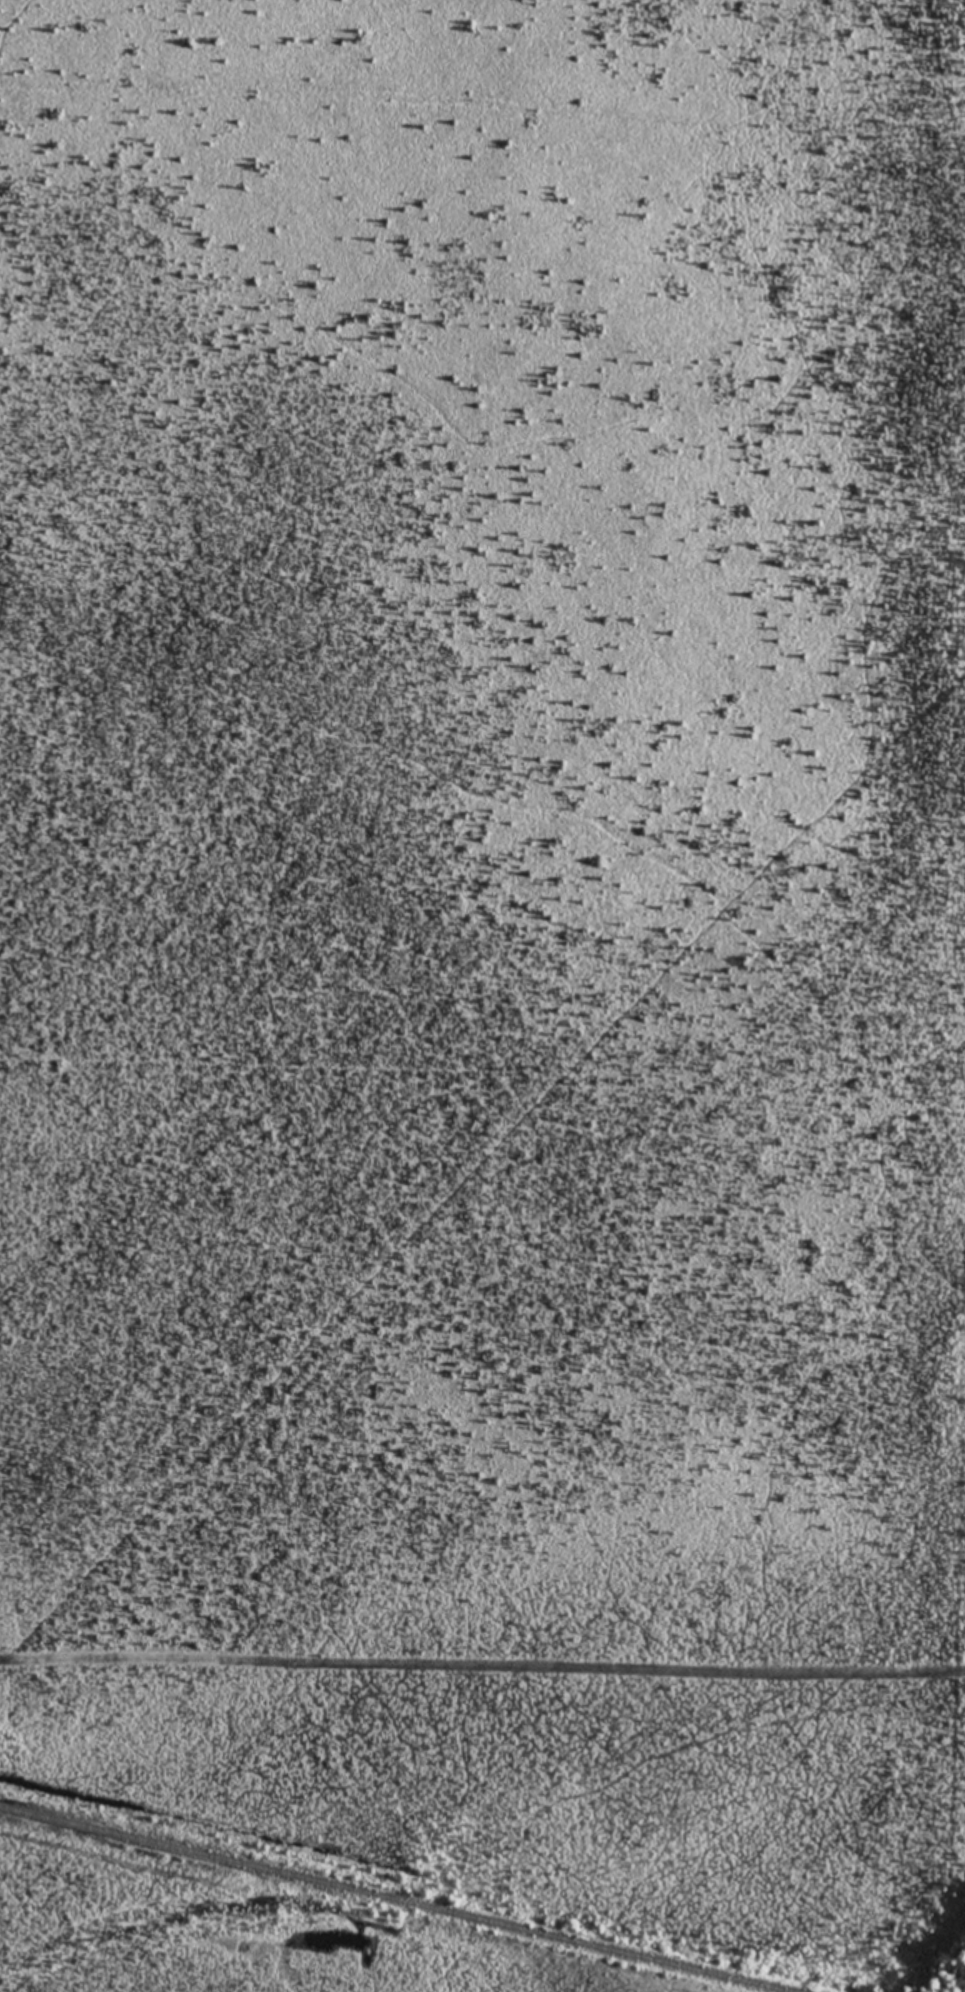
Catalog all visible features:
railway: (396, 1899)

